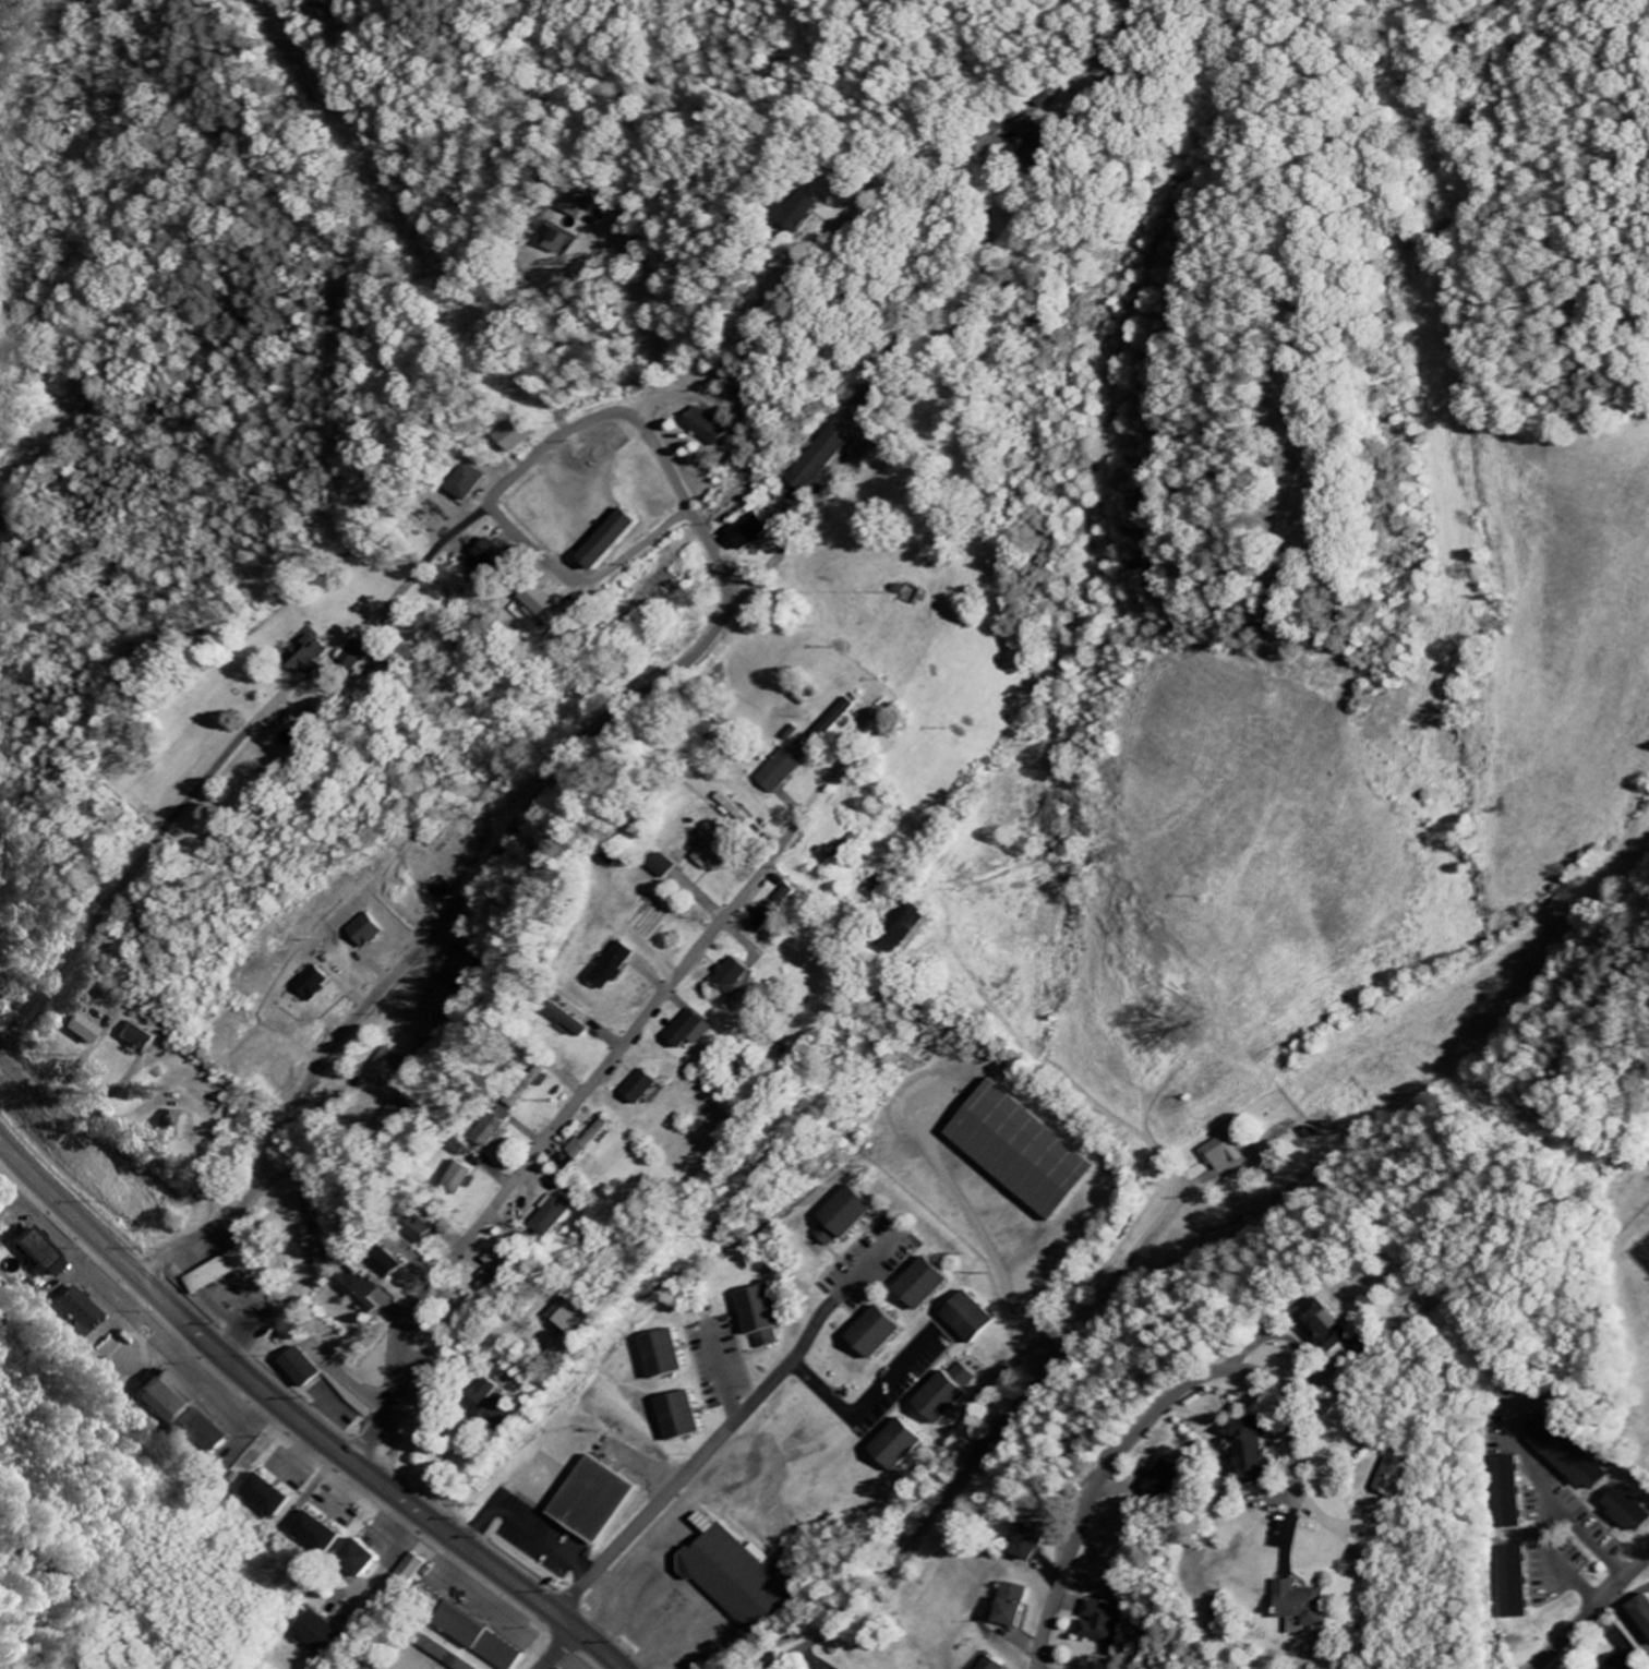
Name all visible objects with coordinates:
building: (1032, 129)
building: (811, 212)
building: (564, 242)
road: (771, 372)
road: (674, 389)
building: (713, 428)
building: (526, 434)
road: (542, 457)
building: (826, 459)
building: (477, 483)
building: (758, 531)
building: (623, 539)
building: (497, 557)
road: (426, 564)
building: (556, 608)
road: (727, 612)
building: (310, 653)
building: (359, 656)
building: (833, 727)
building: (786, 771)
building: (739, 809)
building: (720, 846)
road: (497, 860)
building: (671, 867)
road: (115, 875)
building: (880, 886)
building: (784, 909)
building: (374, 932)
building: (623, 966)
building: (467, 974)
building: (743, 976)
building: (321, 985)
building: (448, 1001)
building: (578, 1022)
building: (85, 1031)
building: (701, 1031)
building: (142, 1038)
building: (393, 1068)
building: (650, 1088)
road: (152, 1091)
building: (182, 1126)
road: (561, 1126)
building: (495, 1131)
building: (593, 1141)
building: (1030, 1152)
building: (1227, 1154)
building: (464, 1178)
building: (850, 1217)
building: (559, 1220)
building: (425, 1232)
building: (43, 1254)
building: (392, 1266)
road: (1124, 1266)
building: (228, 1270)
building: (498, 1277)
building: (361, 1289)
building: (81, 1310)
building: (461, 1314)
building: (768, 1318)
building: (577, 1319)
building: (979, 1319)
building: (1301, 1328)
building: (884, 1334)
building: (672, 1357)
building: (306, 1369)
road: (805, 1372)
building: (488, 1390)
building: (956, 1394)
building: (168, 1403)
building: (501, 1413)
road: (737, 1414)
building: (690, 1418)
road: (1153, 1422)
road: (298, 1426)
building: (209, 1432)
building: (908, 1445)
building: (1235, 1449)
building: (1563, 1453)
building: (1374, 1477)
building: (1159, 1479)
building: (1507, 1493)
building: (278, 1496)
building: (600, 1499)
building: (1624, 1511)
road: (647, 1517)
road: (527, 1525)
road: (925, 1525)
building: (328, 1534)
building: (1037, 1545)
building: (374, 1556)
building: (745, 1576)
building: (407, 1581)
building: (1512, 1584)
building: (1019, 1605)
building: (1280, 1607)
road: (1597, 1614)
building: (1639, 1614)
building: (1103, 1622)
road: (1629, 1625)
building: (326, 1634)
building: (486, 1637)
road: (1178, 1637)
road: (561, 1649)
road: (23, 1650)
building: (449, 1657)
building: (1622, 1661)
building: (998, 1664)
building: (365, 1668)

